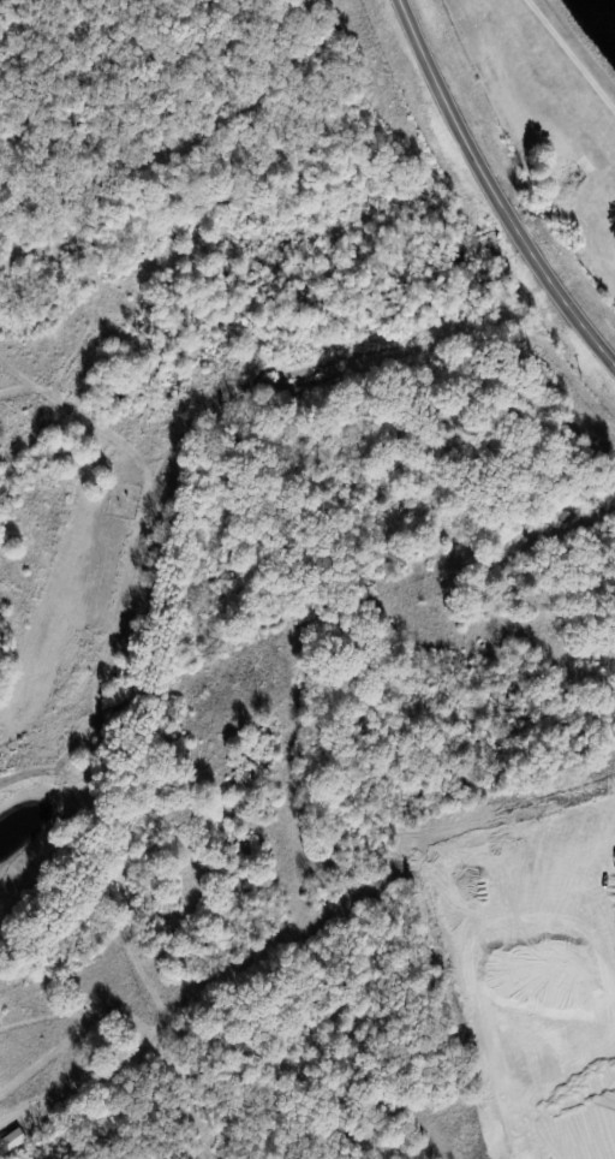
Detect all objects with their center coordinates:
road: (491, 189)

